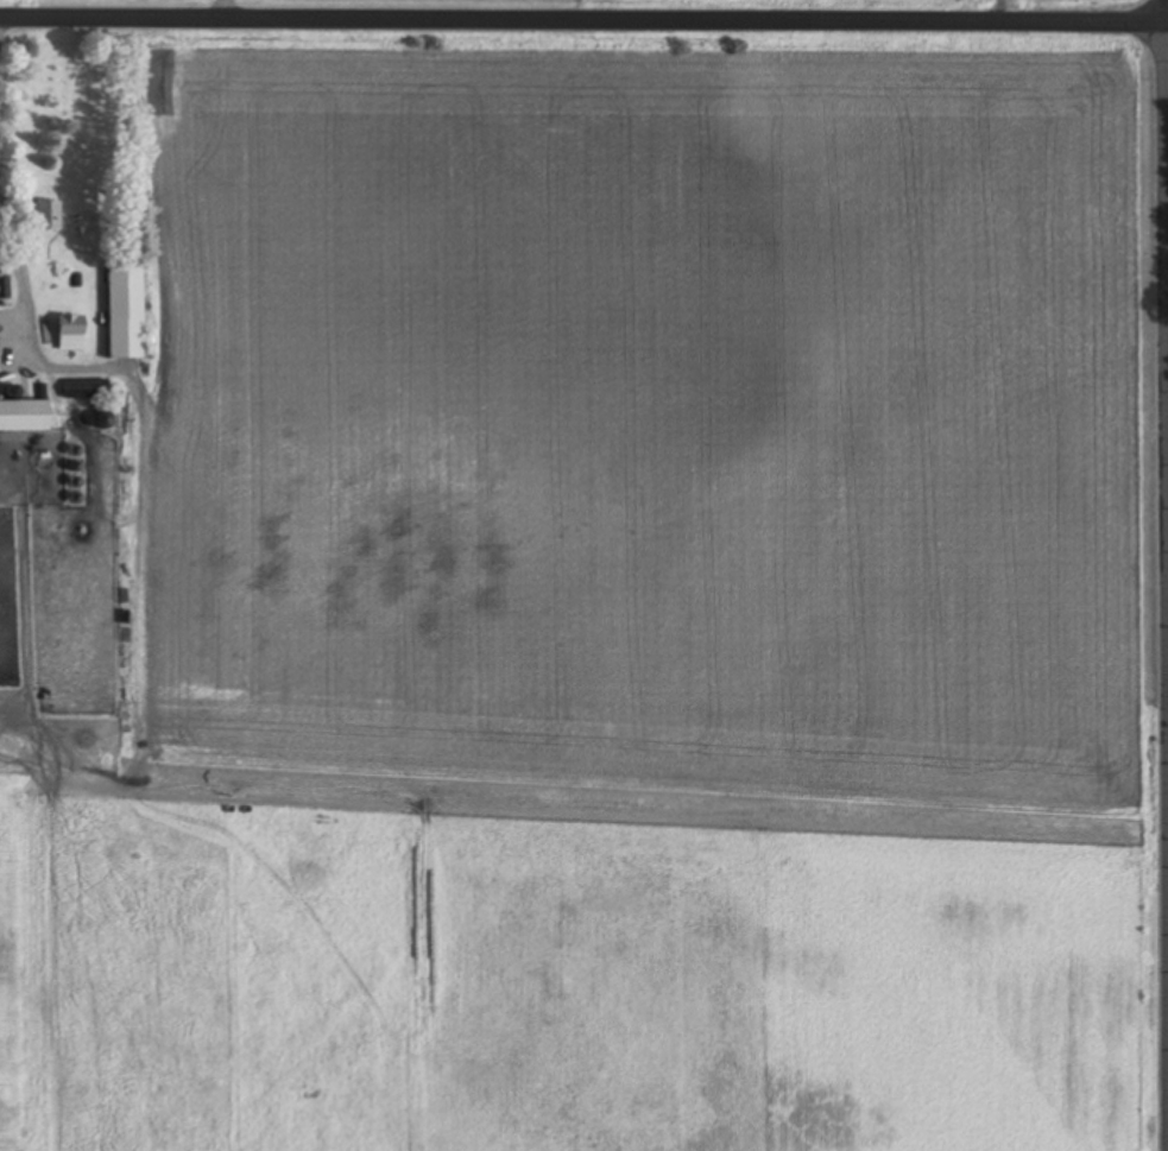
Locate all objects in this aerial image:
road: (583, 20)
building: (51, 214)
building: (5, 285)
building: (128, 309)
building: (72, 331)
building: (26, 415)
crop: (608, 608)

